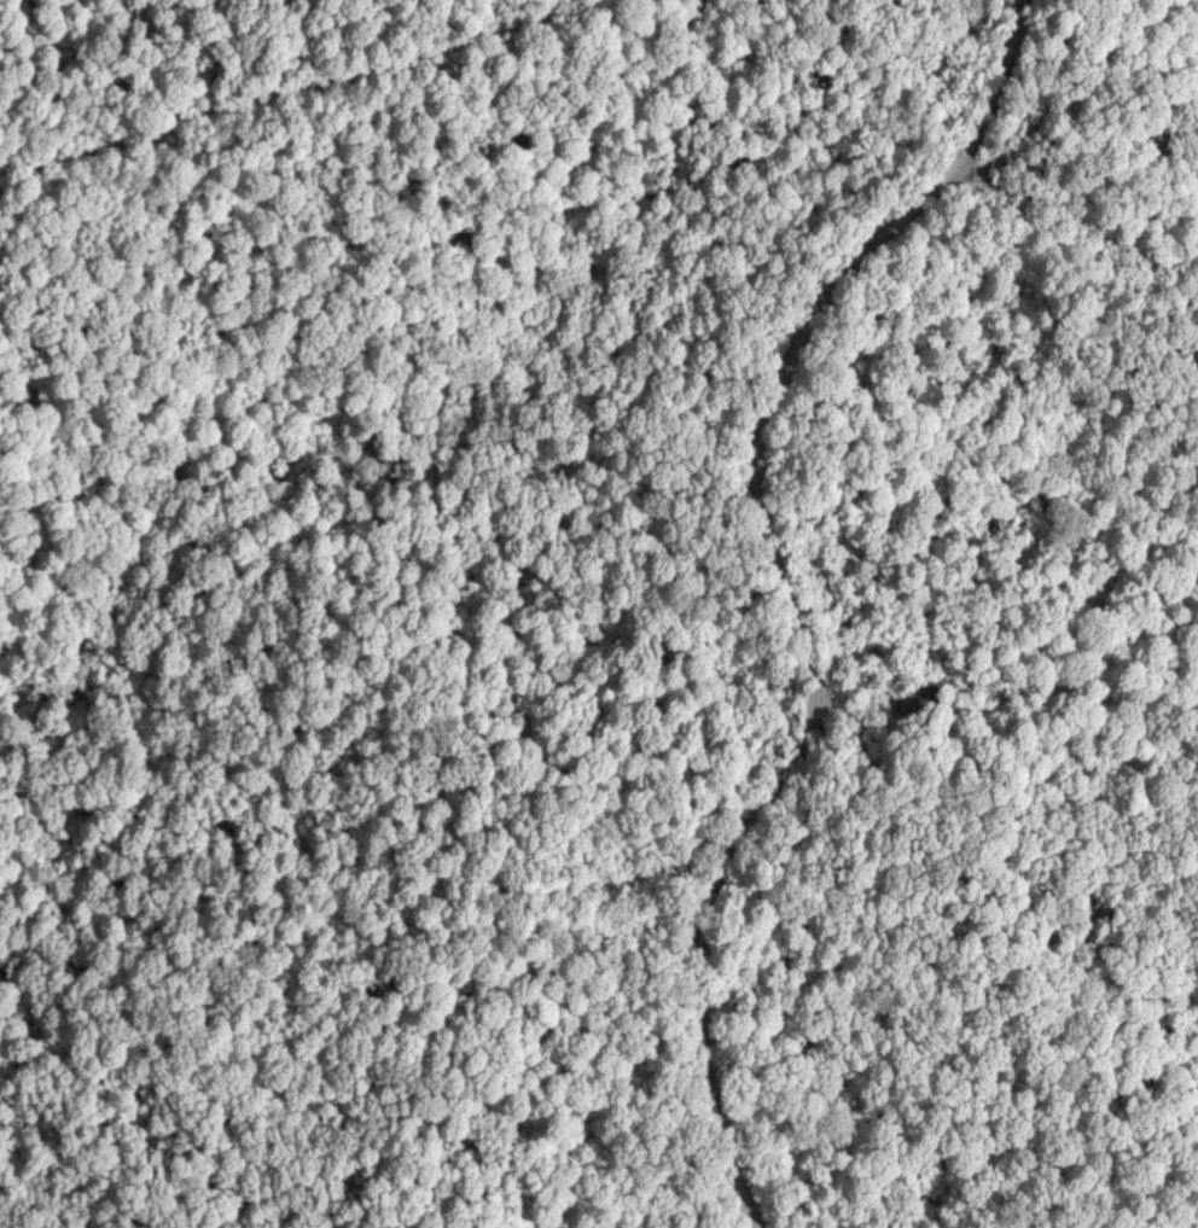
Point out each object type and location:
road: (1103, 222)
road: (807, 604)

